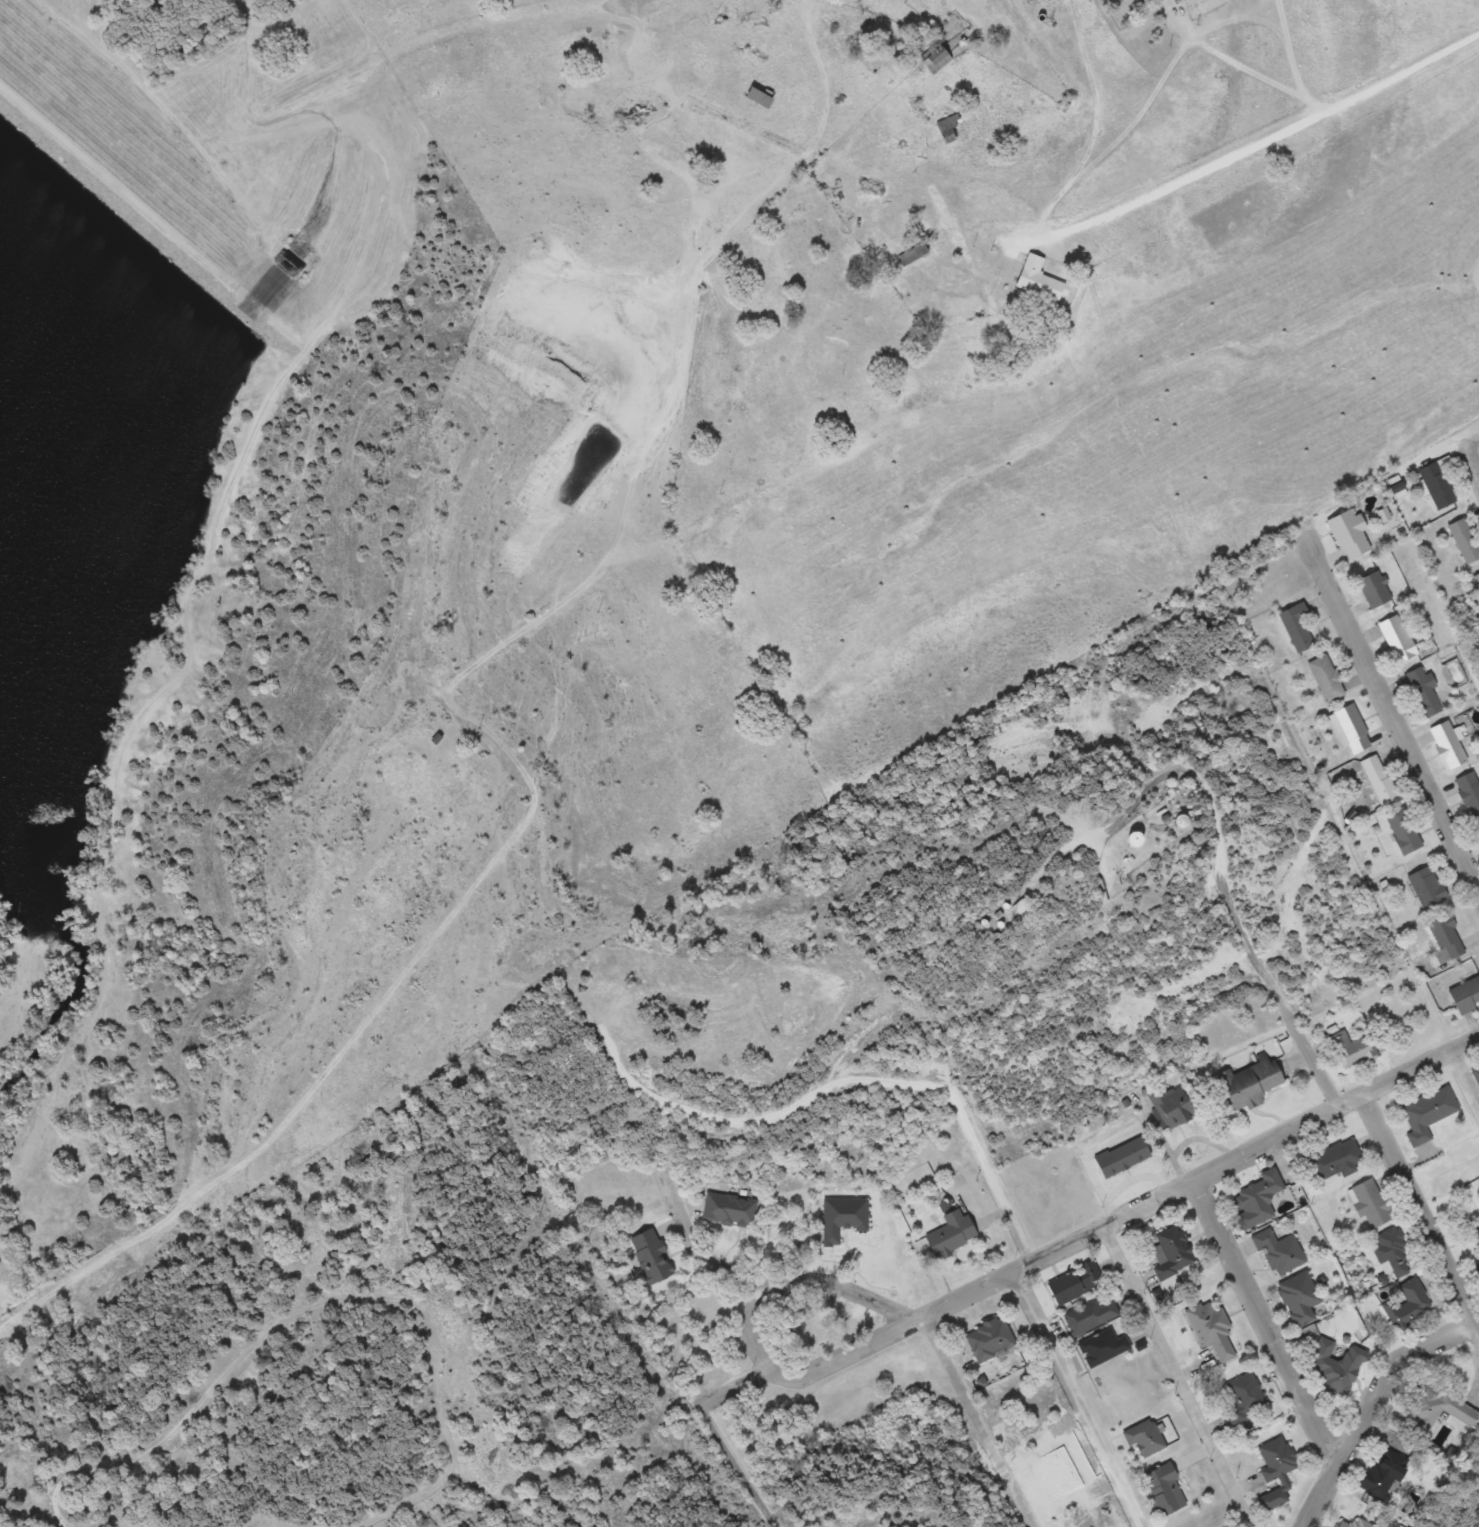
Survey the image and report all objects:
building: (1198, 1)
building: (1169, 2)
road: (1283, 21)
road: (1194, 34)
road: (1230, 58)
building: (937, 60)
road: (1406, 69)
building: (759, 97)
road: (1095, 124)
dam: (141, 168)
road: (1188, 173)
road: (777, 184)
building: (913, 254)
building: (1040, 280)
road: (1475, 452)
road: (1475, 463)
building: (1437, 485)
building: (1349, 533)
building: (1464, 540)
building: (1476, 579)
building: (1374, 589)
building: (1298, 628)
building: (1397, 638)
building: (1326, 678)
building: (1424, 692)
road: (1391, 715)
building: (1353, 728)
building: (1448, 745)
building: (1379, 779)
building: (1469, 792)
building: (1182, 821)
building: (1403, 829)
building: (1135, 839)
building: (1426, 887)
building: (1447, 936)
building: (1466, 995)
building: (1353, 1050)
building: (1475, 1074)
building: (1250, 1082)
building: (1171, 1106)
building: (1428, 1114)
building: (1335, 1160)
road: (1195, 1181)
building: (1258, 1200)
building: (1370, 1203)
building: (730, 1210)
building: (843, 1218)
road: (1418, 1220)
building: (952, 1234)
road: (708, 1244)
building: (1279, 1251)
building: (1172, 1252)
building: (1392, 1253)
building: (652, 1256)
building: (1477, 1256)
building: (1075, 1283)
building: (1299, 1298)
building: (1407, 1304)
building: (1090, 1315)
road: (1264, 1328)
building: (1212, 1330)
road: (747, 1335)
building: (990, 1339)
building: (1103, 1346)
building: (1336, 1367)
road: (1174, 1378)
building: (1246, 1395)
road: (1080, 1399)
road: (1369, 1408)
building: (1441, 1410)
road: (980, 1421)
road: (719, 1432)
building: (1145, 1438)
building: (1276, 1471)
building: (1385, 1474)
building: (1164, 1490)
building: (1351, 1521)

